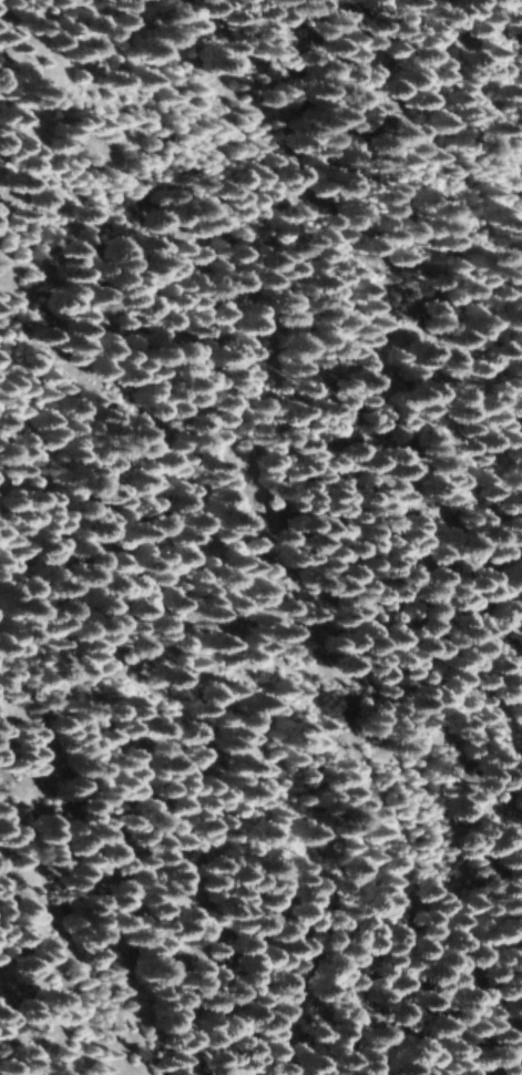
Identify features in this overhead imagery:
road: (72, 941)

